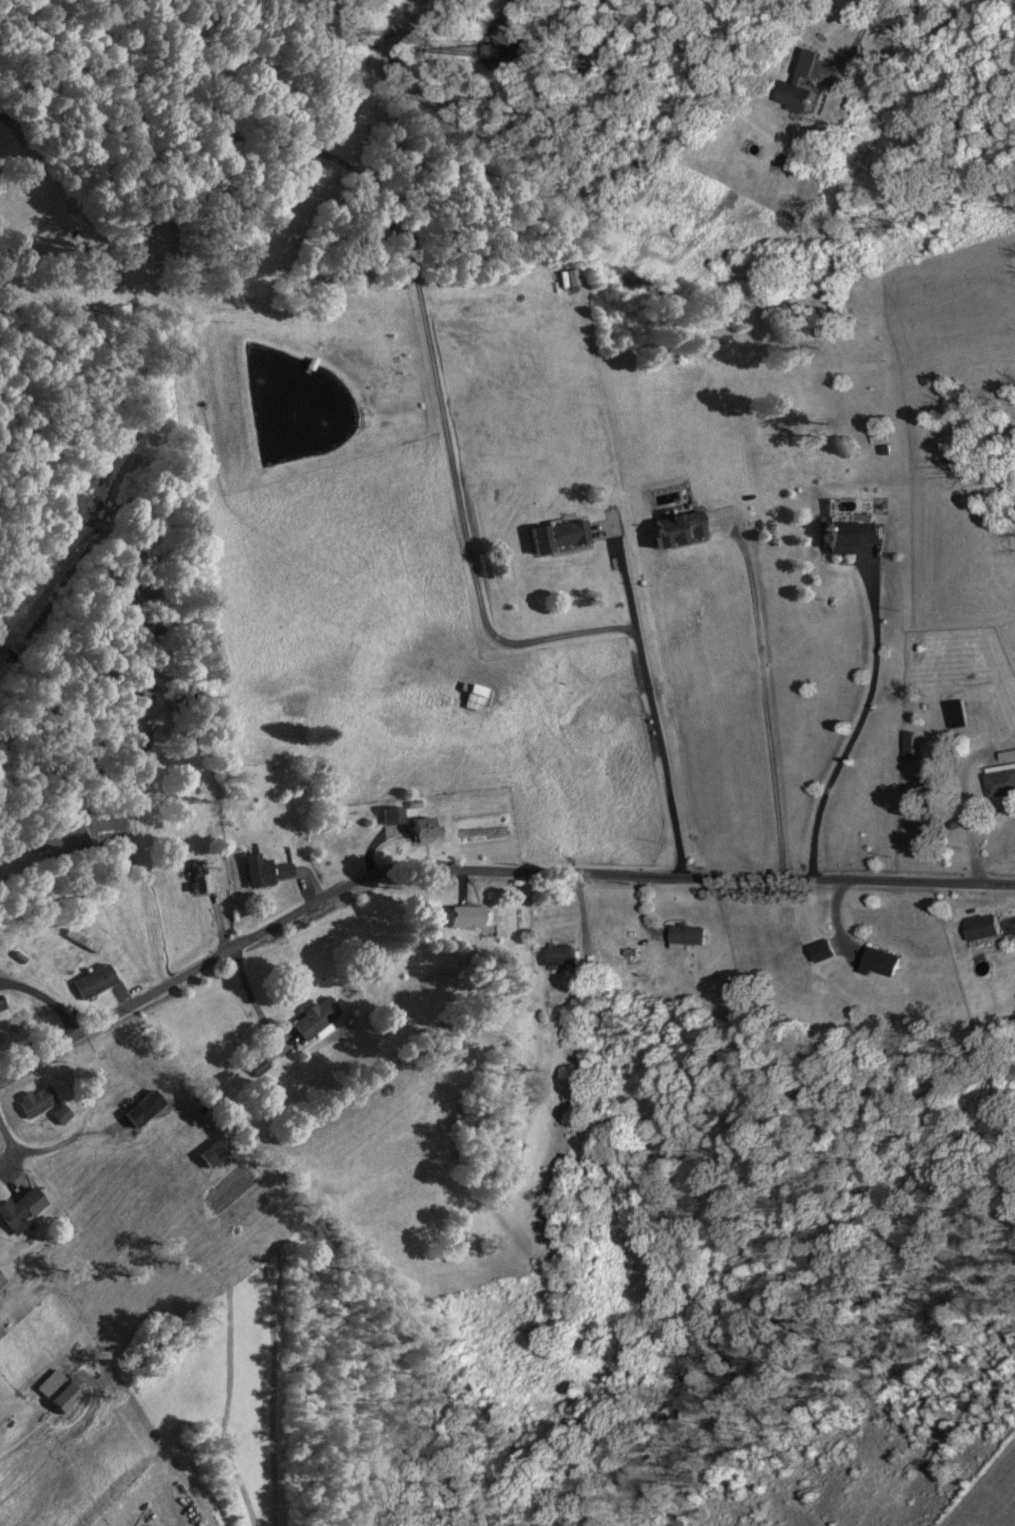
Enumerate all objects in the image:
road: (520, 5)
building: (805, 98)
building: (572, 280)
road: (441, 414)
building: (670, 529)
building: (555, 536)
building: (844, 537)
building: (915, 649)
building: (13, 650)
building: (478, 696)
road: (767, 699)
building: (958, 714)
road: (868, 728)
building: (999, 784)
building: (396, 816)
building: (428, 829)
road: (481, 871)
building: (268, 872)
building: (468, 917)
building: (976, 929)
building: (692, 937)
building: (82, 941)
building: (828, 952)
building: (562, 955)
building: (888, 963)
building: (316, 1019)
building: (260, 1068)
building: (40, 1102)
building: (62, 1115)
building: (140, 1115)
building: (214, 1155)
building: (23, 1209)
building: (2, 1280)
building: (59, 1392)

